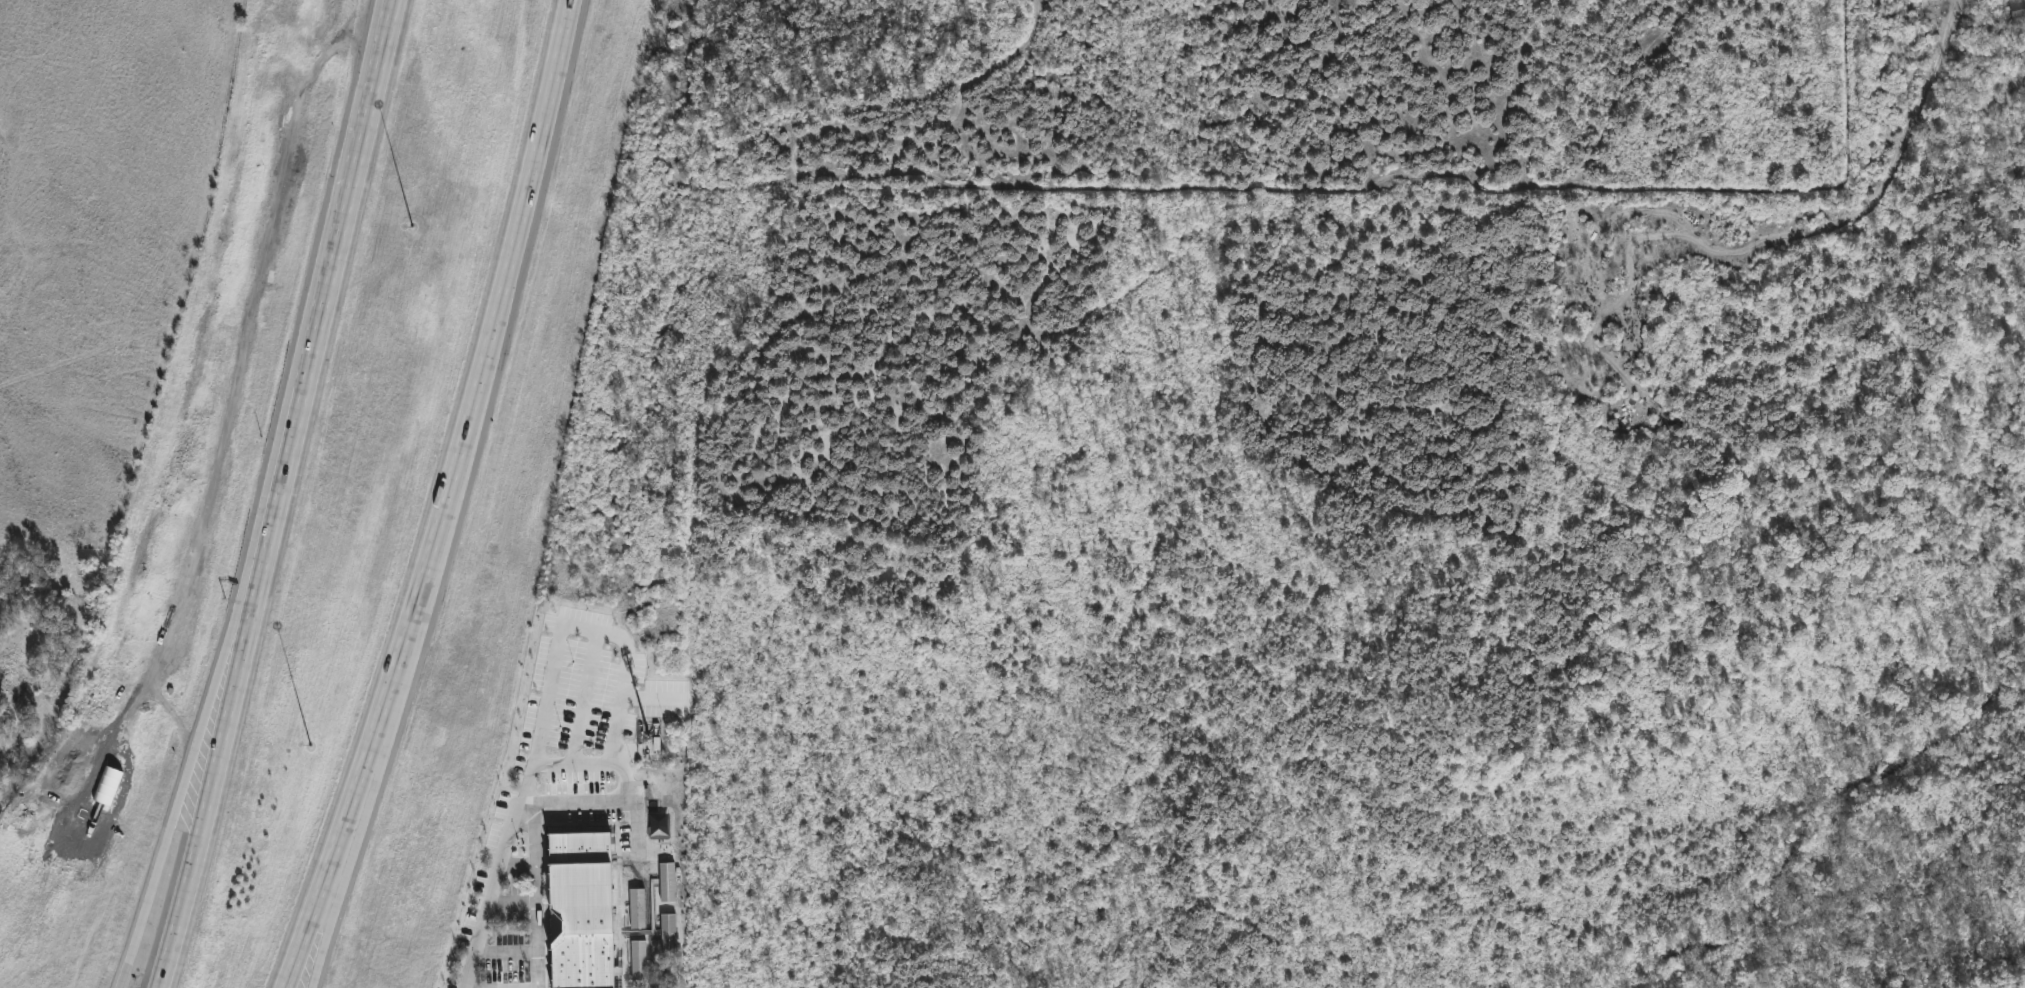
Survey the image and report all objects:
building: (2009, 12)
street lamp: (412, 225)
road: (511, 250)
road: (321, 313)
road: (605, 632)
road: (227, 668)
road: (652, 698)
road: (369, 745)
street lamp: (309, 746)
road: (205, 807)
road: (535, 826)
road: (162, 849)
building: (668, 881)
road: (494, 889)
building: (638, 908)
building: (587, 909)
building: (669, 932)
road: (306, 956)
building: (639, 959)

